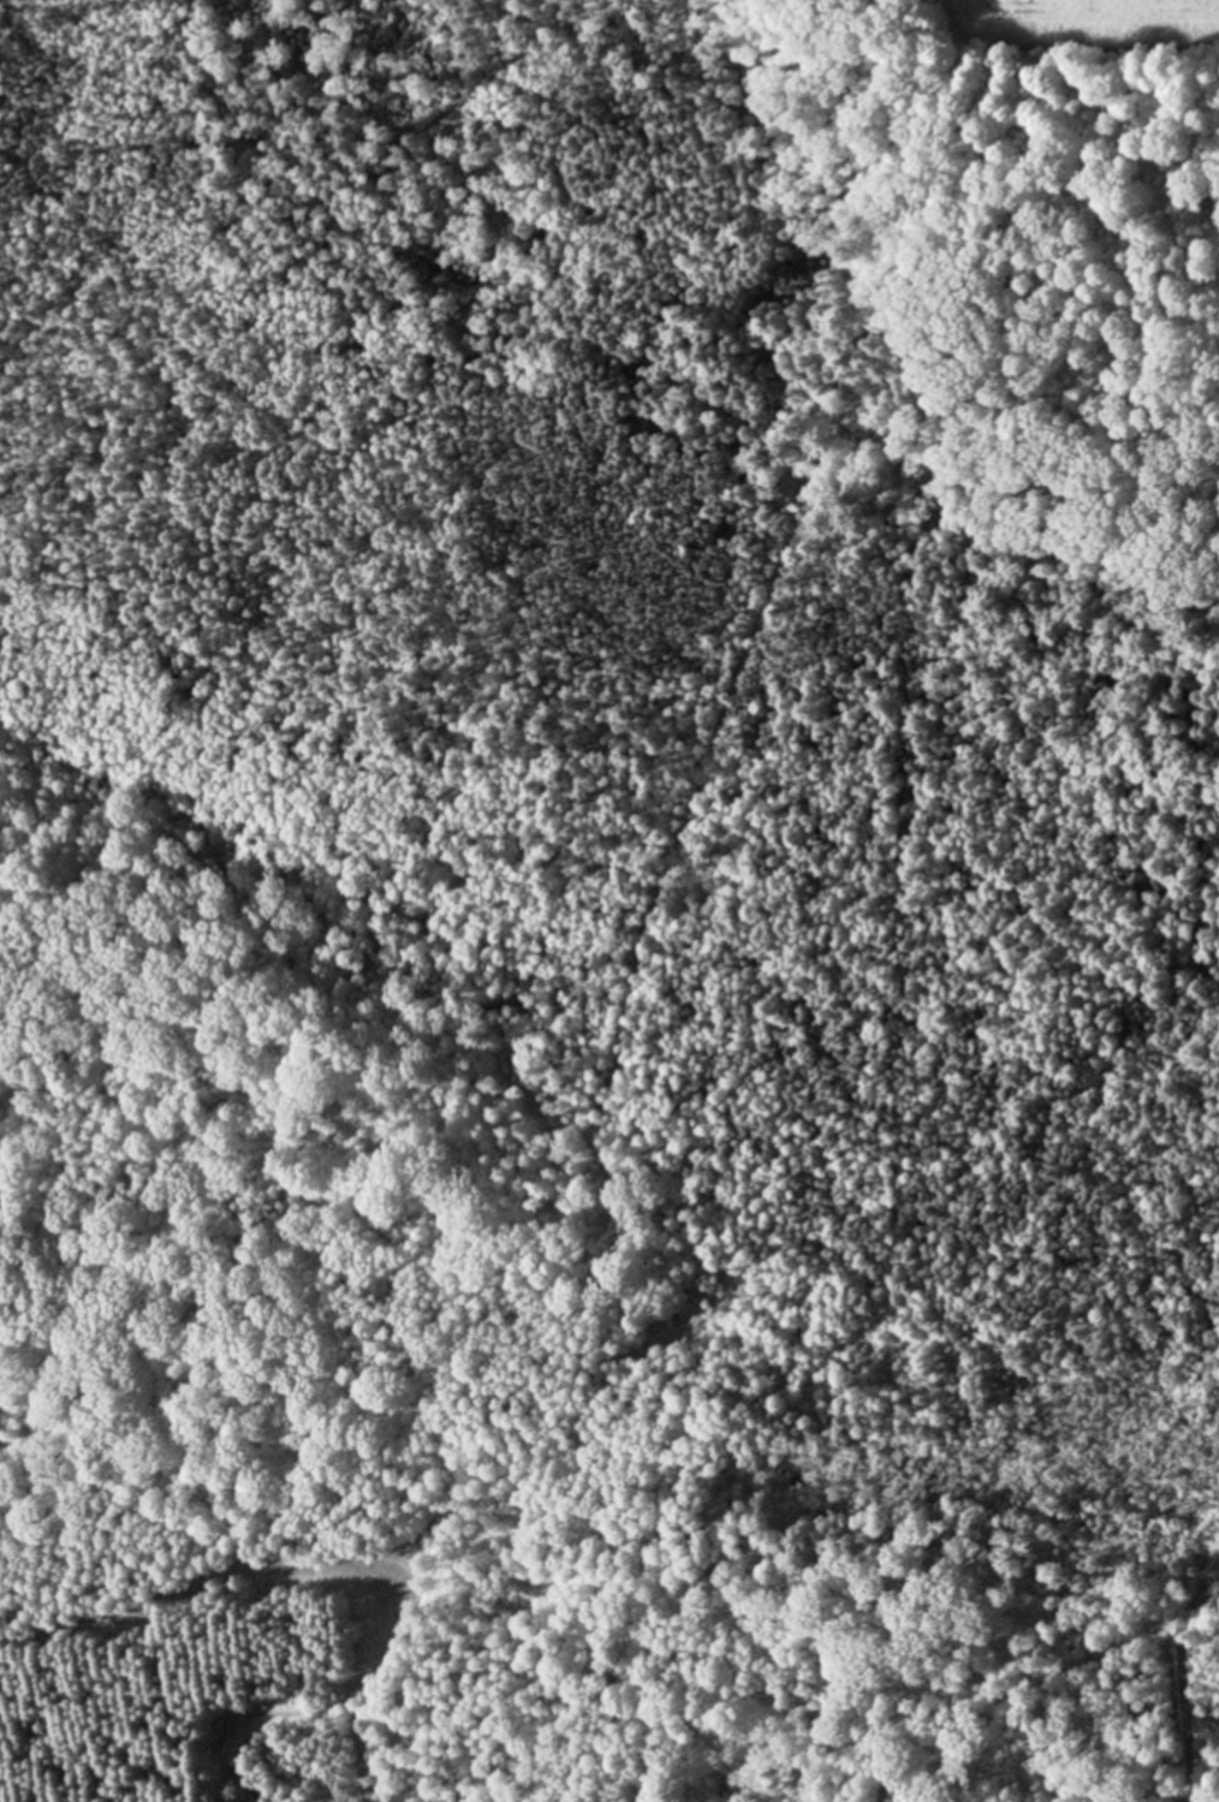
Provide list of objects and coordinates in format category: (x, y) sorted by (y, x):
quarry: (1184, 1759)

